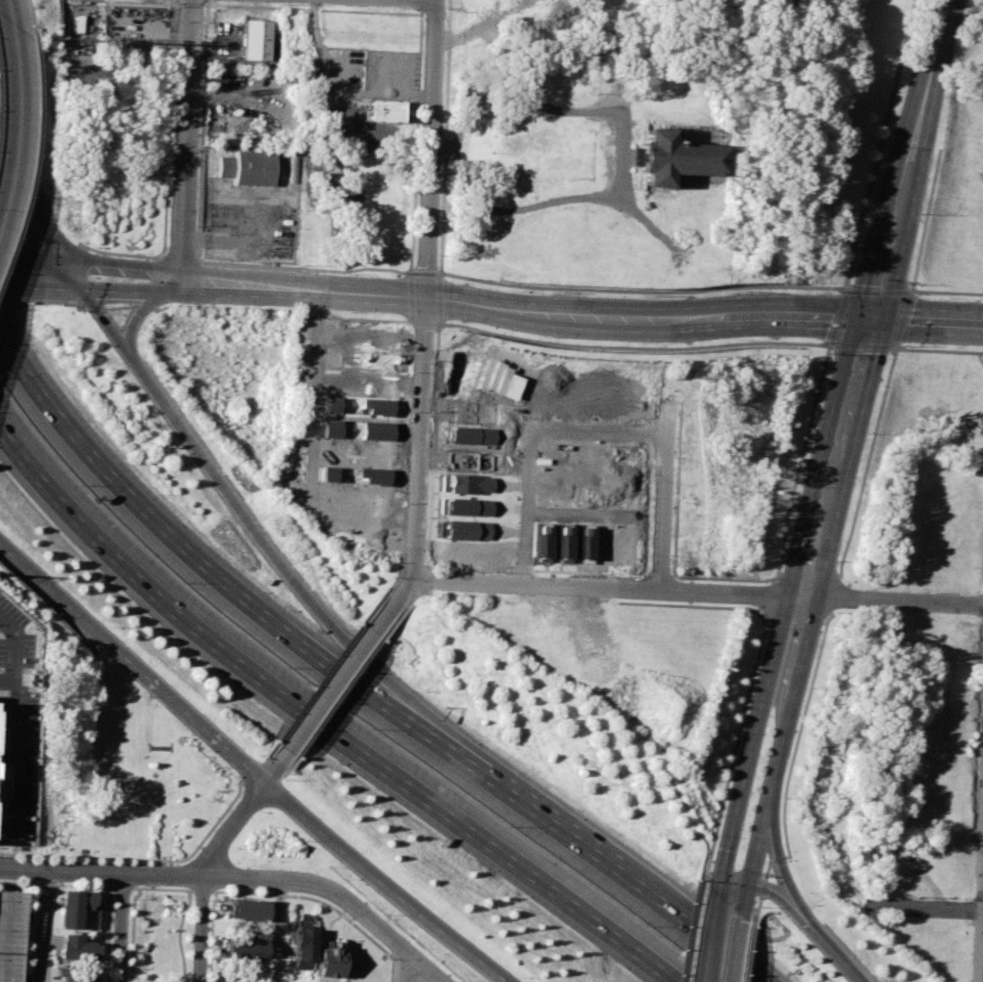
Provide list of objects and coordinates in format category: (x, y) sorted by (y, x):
road: (421, 0)
road: (436, 0)
street lamp: (923, 11)
road: (10, 12)
road: (31, 20)
building: (253, 41)
road: (934, 63)
street lamp: (943, 96)
building: (383, 110)
road: (17, 126)
road: (188, 136)
street lamp: (887, 146)
road: (431, 149)
building: (671, 153)
road: (33, 161)
building: (246, 166)
road: (620, 166)
road: (34, 189)
street lamp: (920, 213)
street lamp: (65, 215)
road: (880, 215)
road: (641, 219)
road: (907, 219)
street lamp: (136, 253)
road: (6, 257)
road: (41, 260)
road: (127, 268)
street lamp: (348, 274)
road: (77, 277)
street lamp: (460, 282)
road: (185, 283)
street lamp: (908, 283)
road: (306, 284)
road: (14, 287)
road: (57, 289)
street lamp: (838, 291)
road: (127, 292)
street lamp: (549, 292)
road: (177, 293)
street lamp: (731, 293)
road: (305, 294)
street lamp: (916, 294)
street lamp: (643, 296)
street lamp: (976, 298)
street lamp: (71, 306)
street lamp: (195, 308)
street lamp: (345, 312)
road: (872, 313)
traffic signals: (886, 313)
traffic signals: (858, 314)
road: (934, 315)
road: (137, 316)
street lamp: (454, 320)
road: (108, 322)
road: (641, 322)
street lamp: (548, 336)
street lamp: (737, 339)
street lamp: (822, 342)
street lamp: (641, 343)
street lamp: (901, 345)
street lamp: (973, 346)
street lamp: (831, 353)
street lamp: (433, 361)
road: (301, 394)
building: (331, 404)
building: (376, 406)
road: (419, 445)
road: (532, 452)
building: (464, 486)
road: (664, 497)
building: (466, 530)
road: (264, 535)
road: (177, 537)
building: (542, 542)
building: (563, 543)
road: (698, 595)
road: (818, 599)
road: (786, 603)
road: (342, 677)
road: (6, 681)
road: (325, 718)
road: (16, 723)
road: (248, 766)
building: (2, 780)
road: (236, 818)
road: (592, 839)
road: (149, 859)
road: (781, 862)
road: (213, 879)
traffic signals: (723, 883)
road: (736, 884)
traffic signals: (750, 885)
road: (101, 886)
road: (161, 888)
road: (286, 896)
road: (747, 899)
road: (788, 903)
building: (72, 904)
road: (925, 910)
building: (247, 912)
road: (42, 927)
road: (122, 929)
road: (199, 930)
park: (160, 932)
road: (132, 933)
road: (277, 933)
building: (10, 935)
parking garage: (10, 935)
road: (179, 935)
road: (711, 937)
building: (78, 947)
road: (737, 947)
building: (243, 948)
building: (299, 948)
road: (840, 958)
building: (326, 962)
road: (399, 966)
road: (422, 966)
building: (75, 974)

